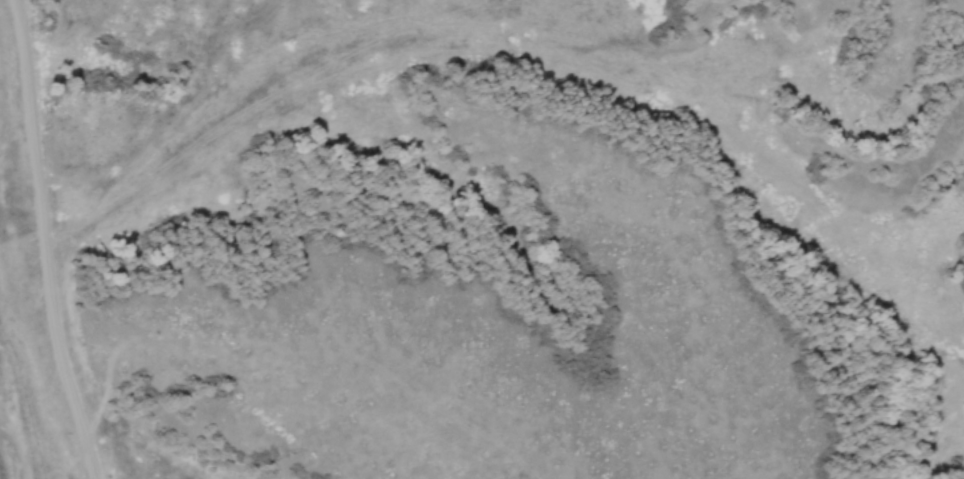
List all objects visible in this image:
road: (47, 241)

